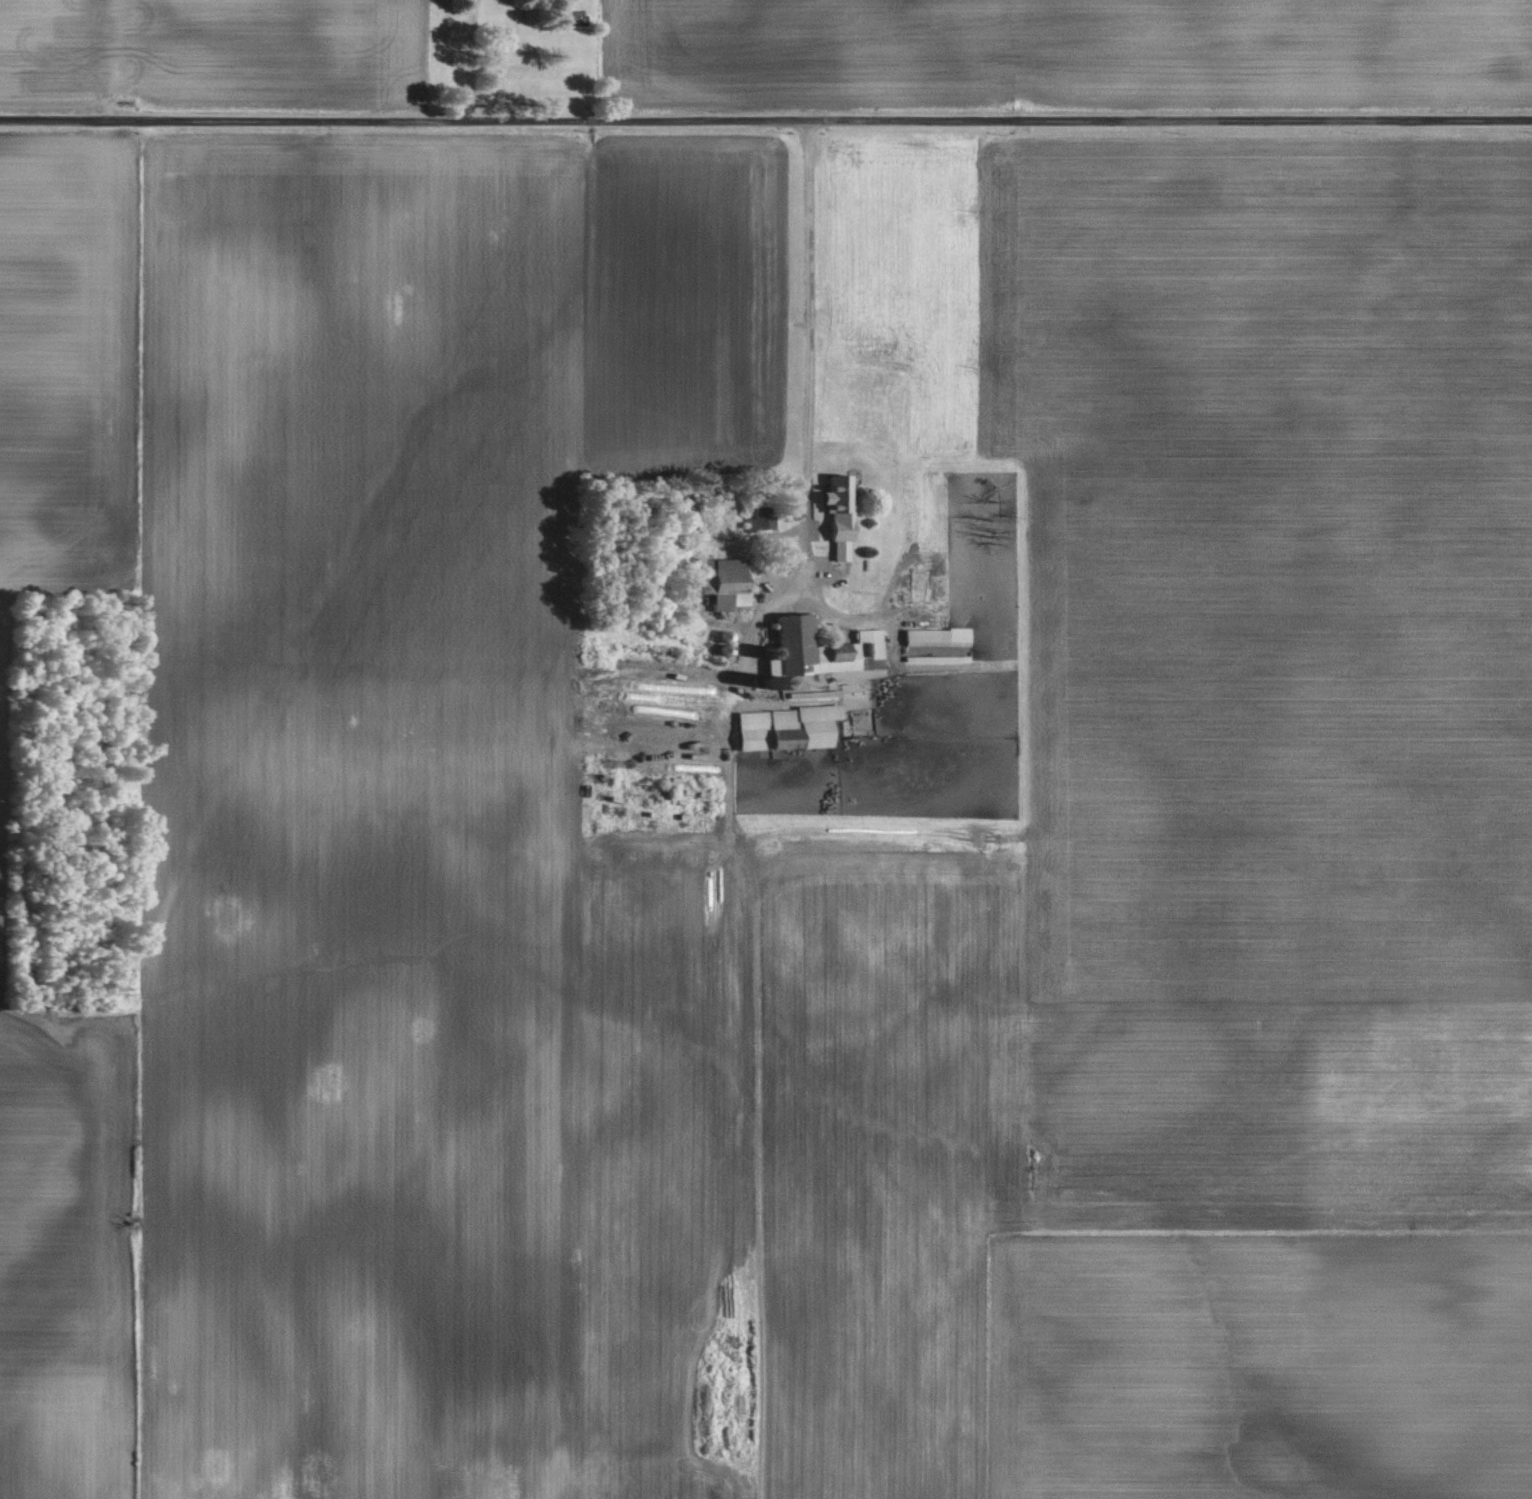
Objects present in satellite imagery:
road: (467, 61)
road: (765, 117)
road: (805, 353)
building: (832, 511)
building: (933, 635)
building: (815, 646)
road: (735, 679)
building: (781, 726)

